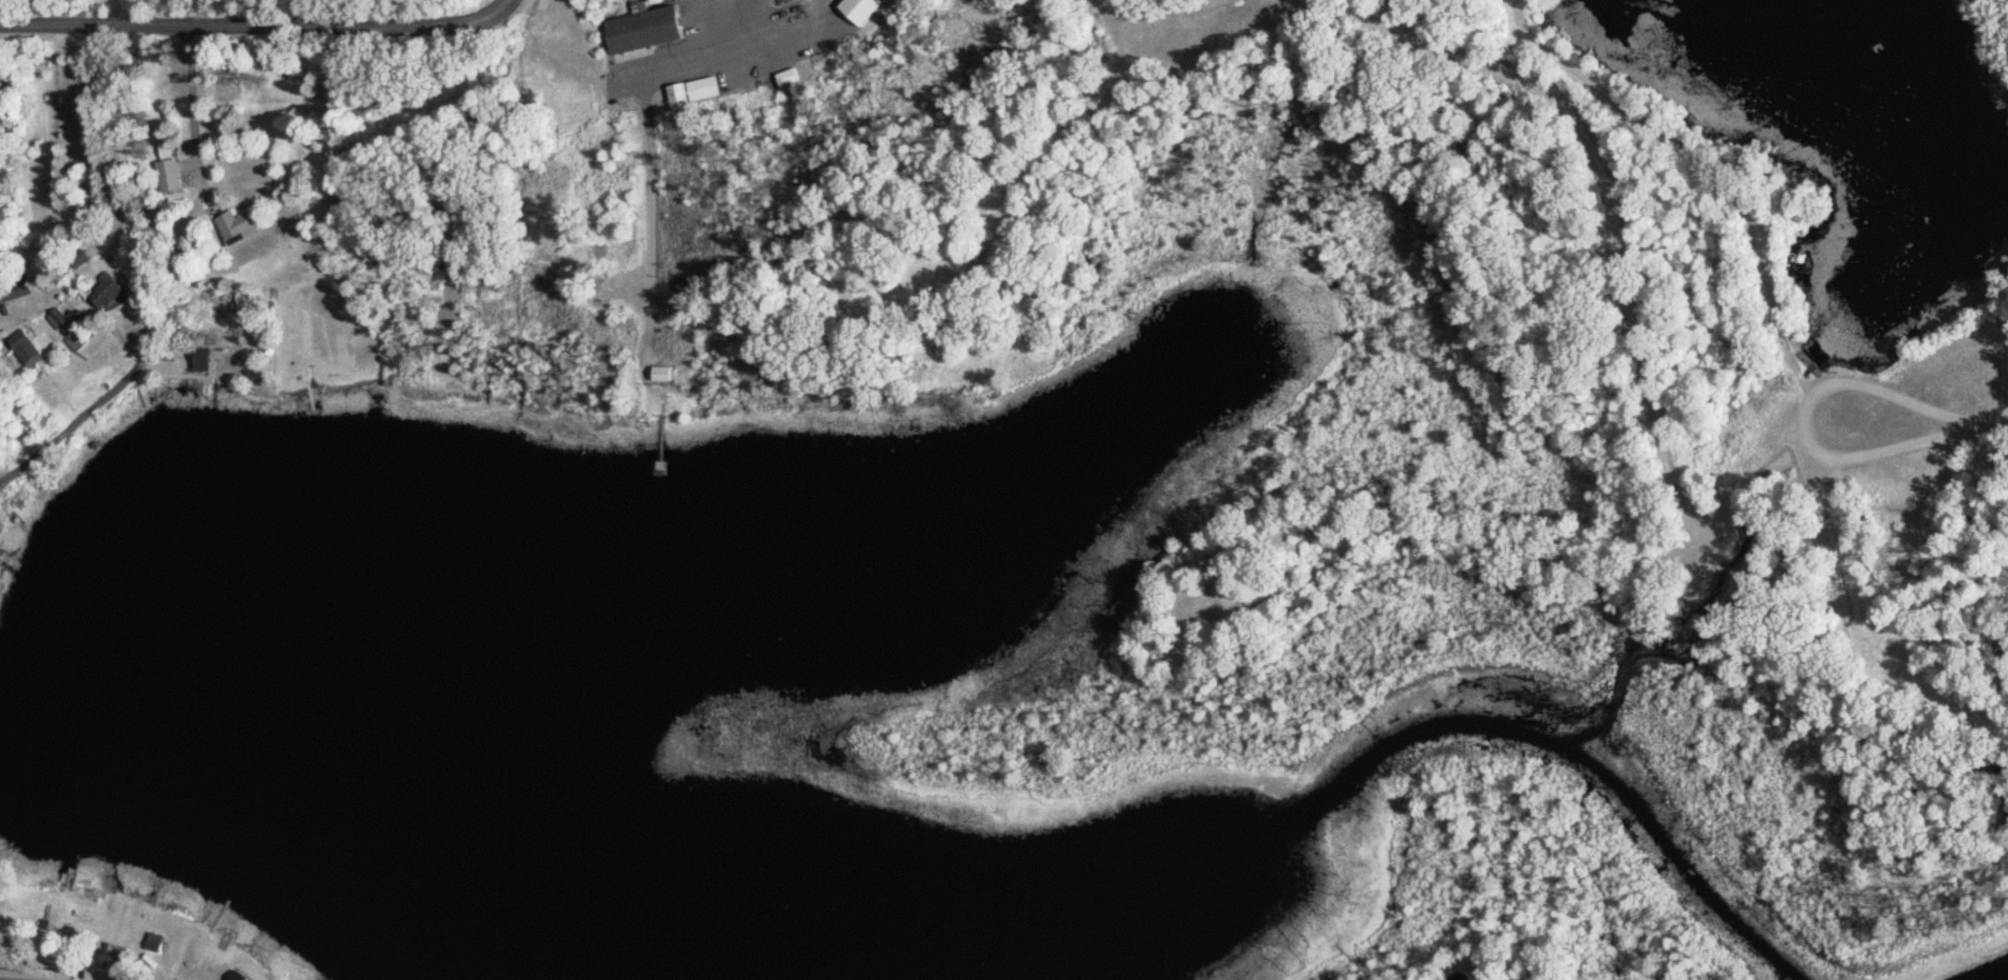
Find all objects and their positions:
road: (497, 7)
road: (1148, 7)
building: (866, 11)
road: (245, 21)
building: (650, 30)
road: (702, 63)
building: (697, 93)
building: (2, 98)
road: (191, 107)
building: (173, 177)
road: (990, 186)
road: (638, 210)
building: (241, 225)
building: (19, 291)
building: (116, 293)
road: (12, 315)
building: (75, 323)
road: (1621, 331)
building: (31, 348)
building: (665, 374)
road: (83, 407)
road: (1316, 635)
building: (118, 960)
building: (52, 963)
building: (240, 976)
road: (14, 977)

